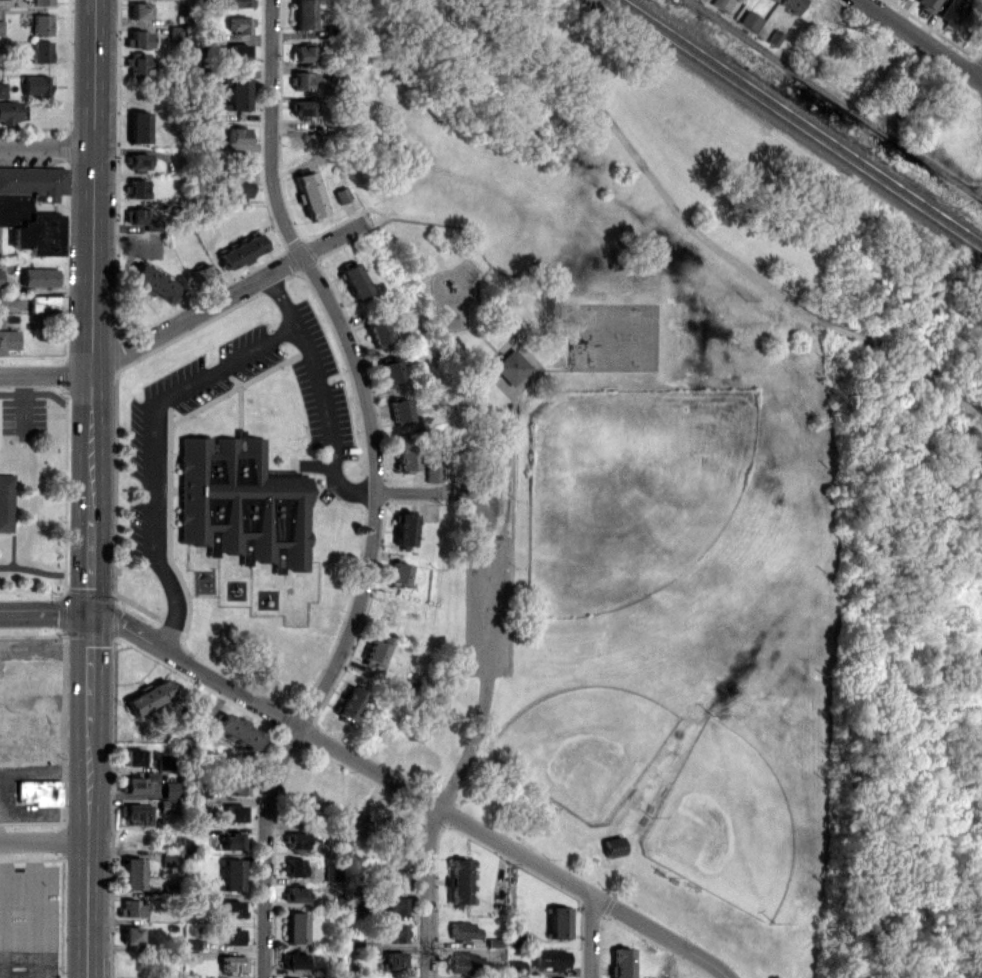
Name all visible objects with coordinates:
building: (41, 2)
building: (240, 3)
building: (722, 4)
building: (793, 4)
building: (927, 4)
building: (139, 10)
building: (953, 11)
building: (307, 12)
building: (751, 20)
building: (40, 24)
building: (239, 24)
building: (1, 27)
building: (178, 33)
building: (138, 38)
road: (923, 39)
building: (41, 51)
building: (238, 51)
building: (303, 53)
building: (138, 63)
building: (304, 80)
building: (35, 85)
building: (2, 89)
building: (237, 93)
road: (835, 98)
building: (303, 107)
building: (9, 111)
railway: (804, 120)
building: (139, 126)
railway: (795, 126)
road: (271, 130)
building: (238, 134)
road: (48, 149)
building: (139, 161)
building: (239, 161)
building: (137, 188)
building: (239, 190)
building: (309, 193)
building: (341, 194)
building: (32, 207)
building: (136, 216)
road: (714, 246)
building: (241, 251)
building: (202, 272)
building: (39, 276)
building: (0, 277)
building: (354, 279)
building: (156, 284)
building: (46, 302)
road: (93, 308)
road: (193, 314)
building: (0, 321)
building: (378, 332)
building: (8, 339)
building: (512, 366)
road: (357, 367)
building: (390, 370)
road: (322, 393)
building: (399, 409)
road: (43, 415)
road: (154, 449)
building: (405, 454)
building: (432, 472)
park: (623, 482)
road: (32, 486)
park: (32, 493)
building: (6, 500)
building: (241, 502)
building: (404, 528)
park: (620, 536)
road: (39, 570)
building: (398, 573)
parking lot: (486, 606)
road: (45, 613)
road: (356, 614)
traffic signals: (91, 618)
building: (375, 651)
road: (196, 669)
road: (136, 687)
road: (485, 692)
building: (148, 697)
building: (349, 702)
building: (201, 709)
building: (236, 731)
park: (586, 746)
building: (132, 757)
building: (164, 762)
building: (143, 783)
building: (235, 786)
building: (170, 790)
building: (39, 792)
road: (89, 797)
building: (166, 806)
building: (233, 812)
building: (137, 813)
park: (728, 822)
building: (363, 827)
road: (44, 840)
building: (231, 840)
building: (296, 840)
building: (614, 846)
road: (262, 848)
road: (514, 850)
building: (169, 859)
building: (296, 867)
building: (332, 872)
building: (132, 873)
building: (231, 874)
building: (397, 877)
building: (458, 881)
building: (295, 893)
building: (394, 904)
building: (130, 908)
building: (231, 908)
building: (557, 922)
building: (295, 927)
building: (463, 929)
building: (395, 932)
building: (131, 934)
building: (230, 935)
road: (591, 936)
building: (191, 943)
building: (191, 956)
building: (550, 958)
building: (394, 959)
building: (293, 960)
building: (464, 962)
building: (233, 963)
building: (621, 963)
building: (296, 977)

